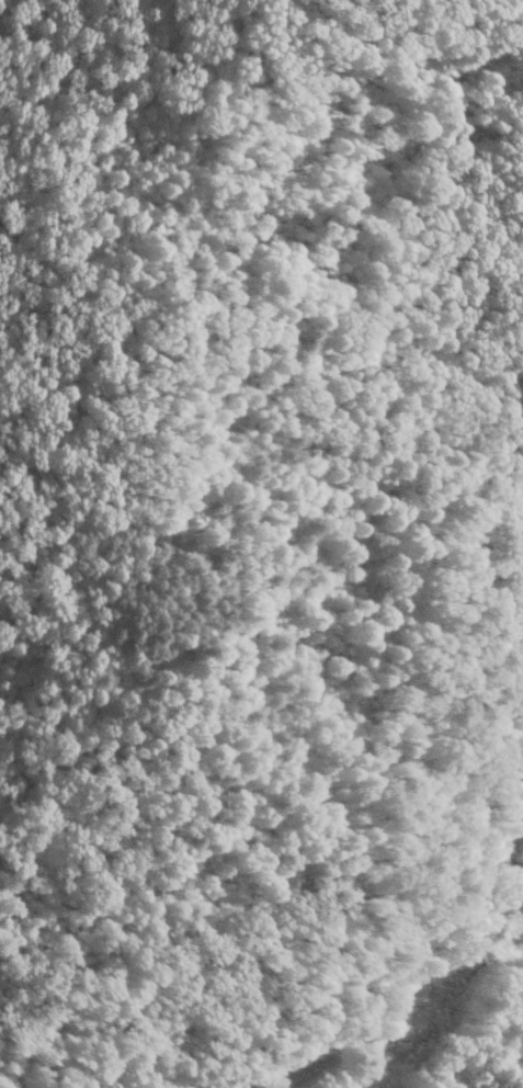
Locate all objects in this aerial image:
road: (356, 973)

